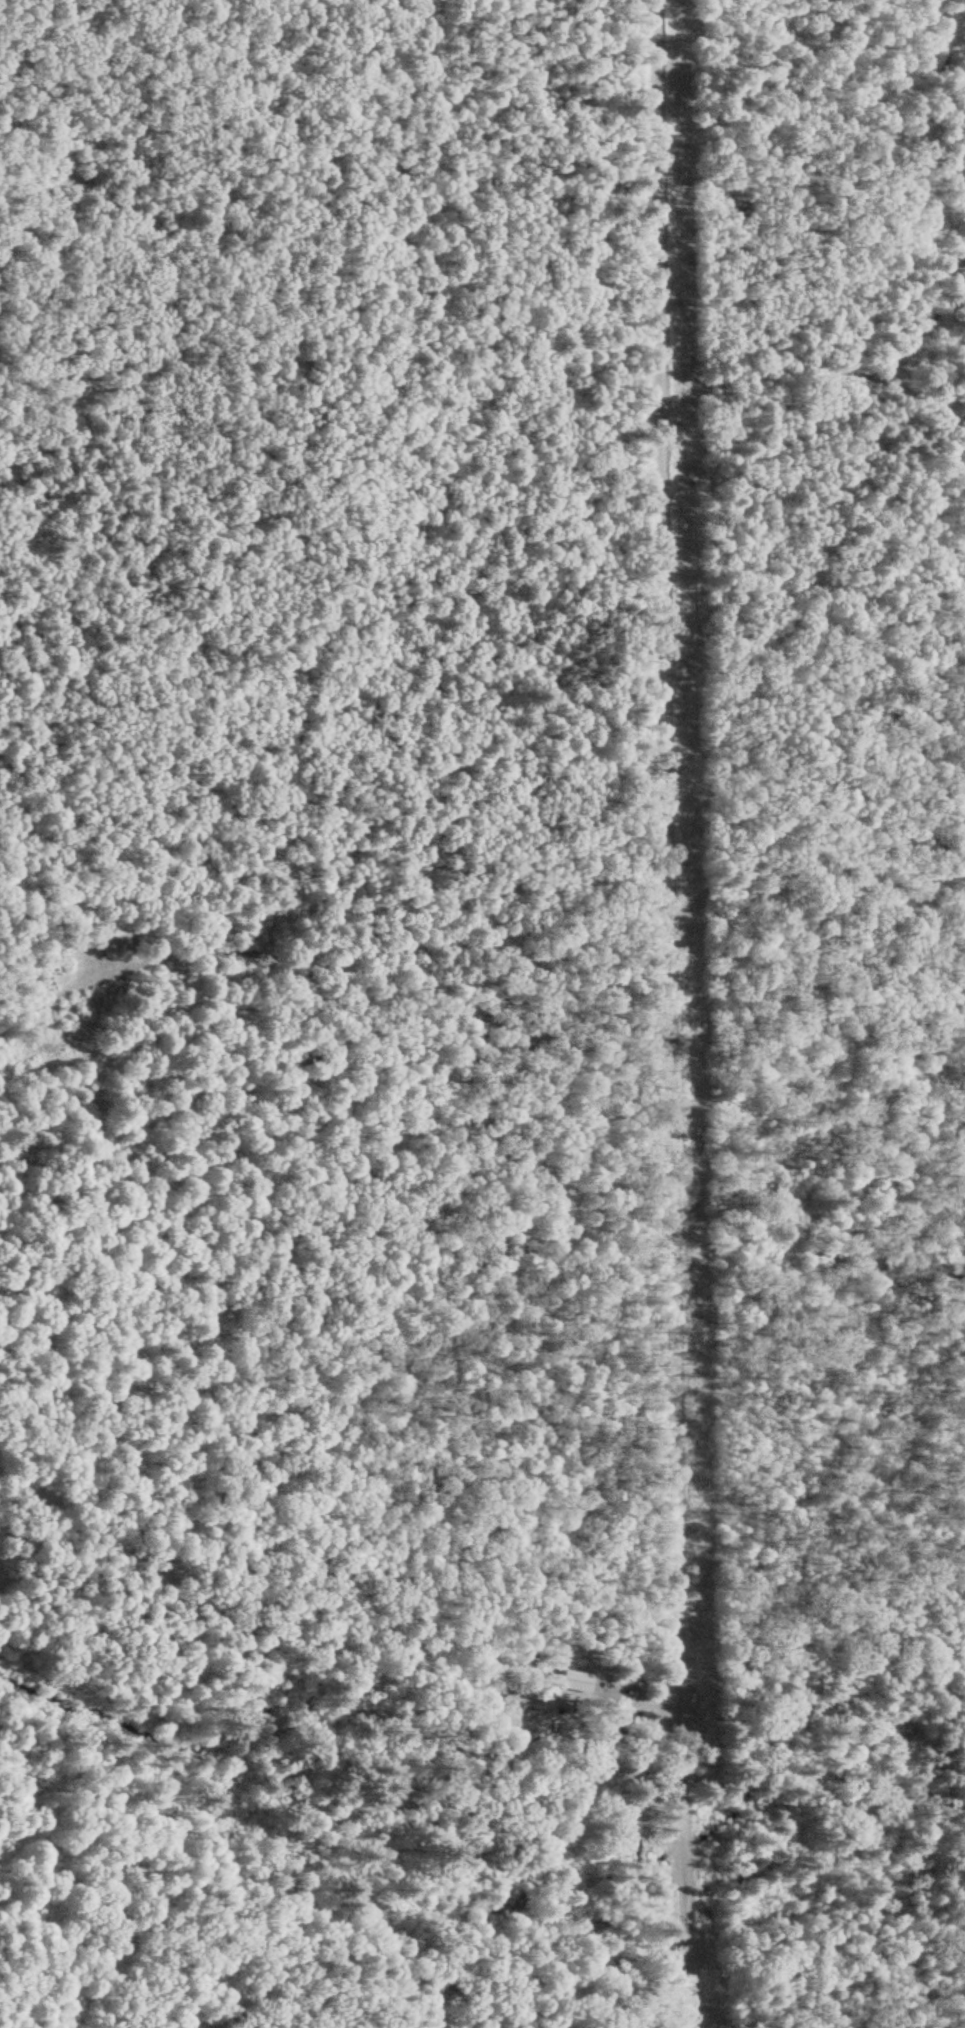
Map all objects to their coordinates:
road: (665, 853)
road: (615, 1696)
building: (510, 1709)
building: (617, 1719)
road: (682, 1855)
road: (689, 2016)

